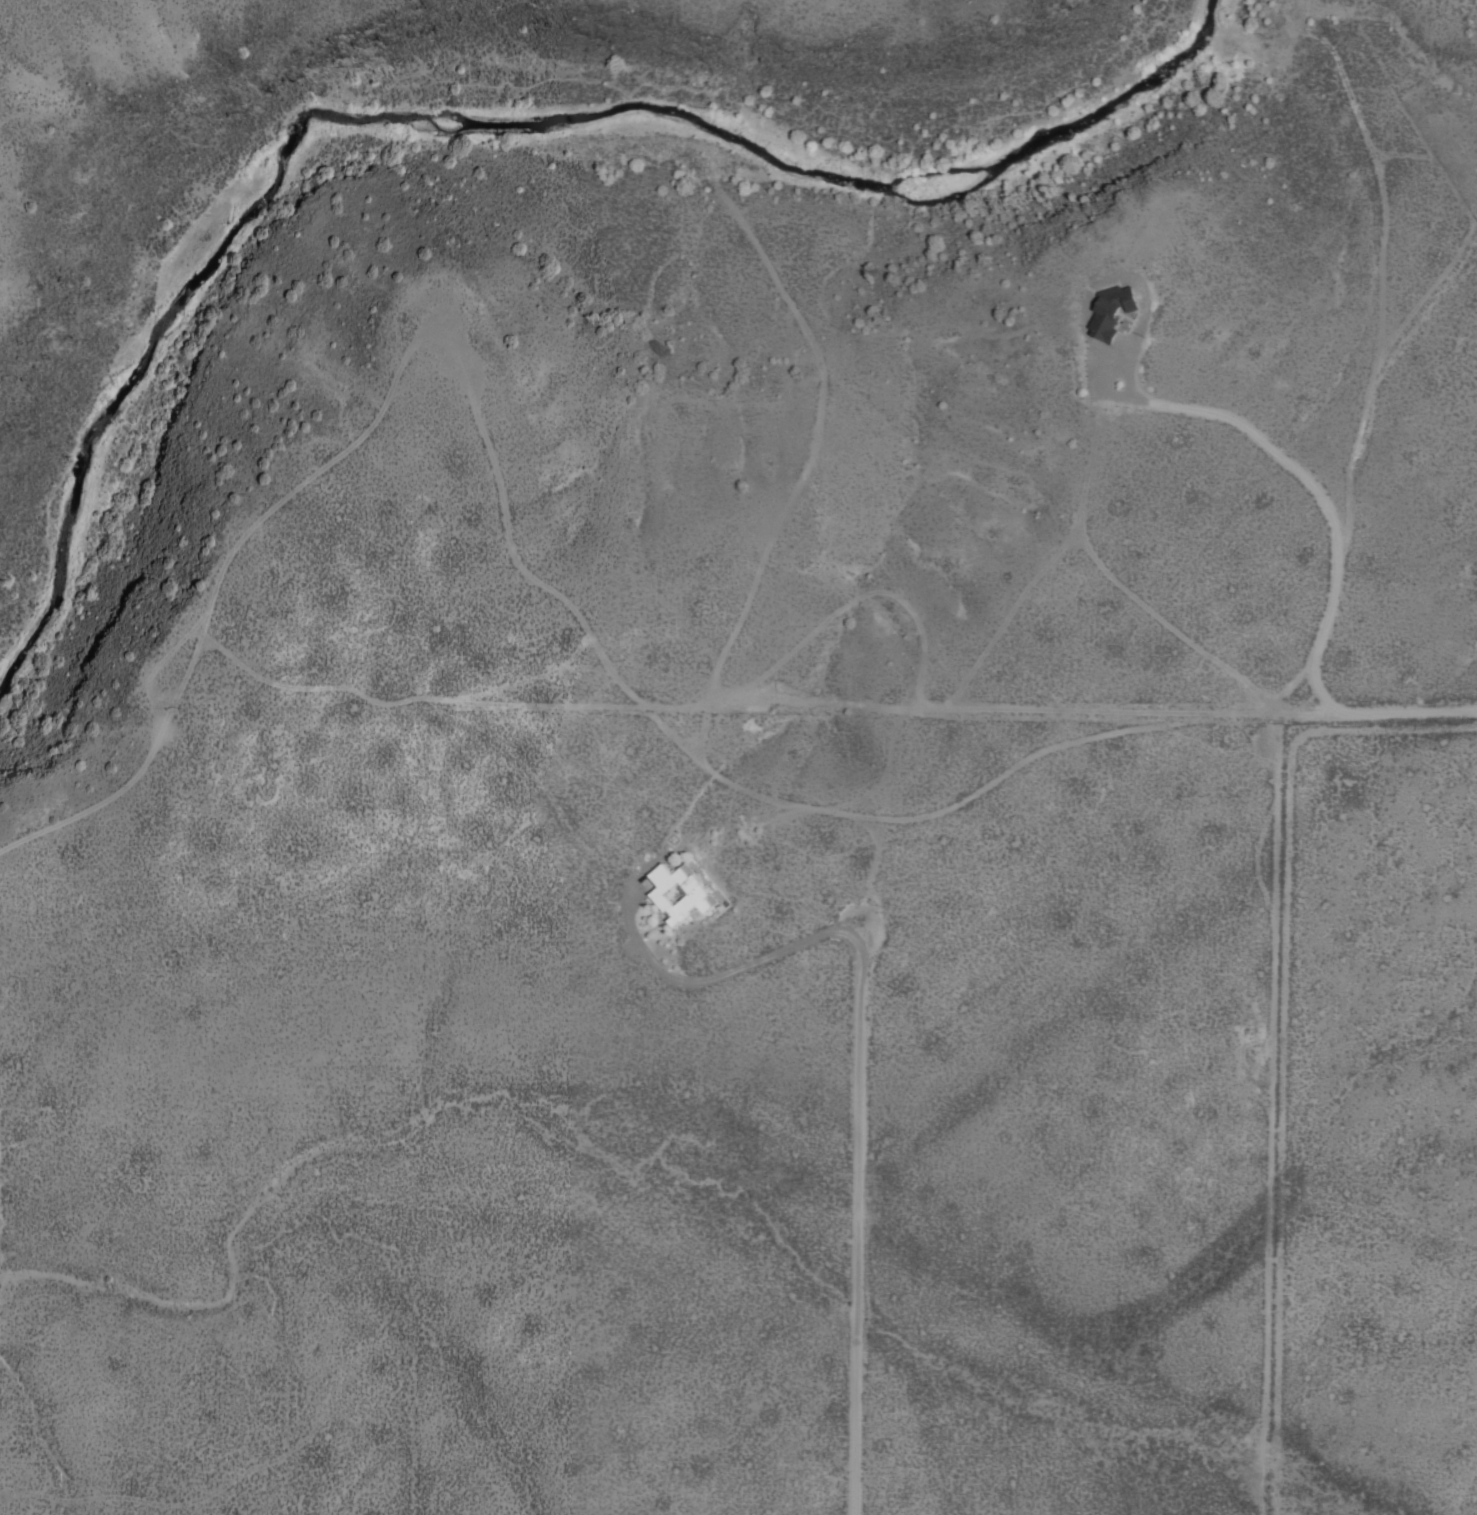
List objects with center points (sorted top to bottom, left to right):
road: (1340, 571)
building: (682, 892)
road: (860, 1219)

